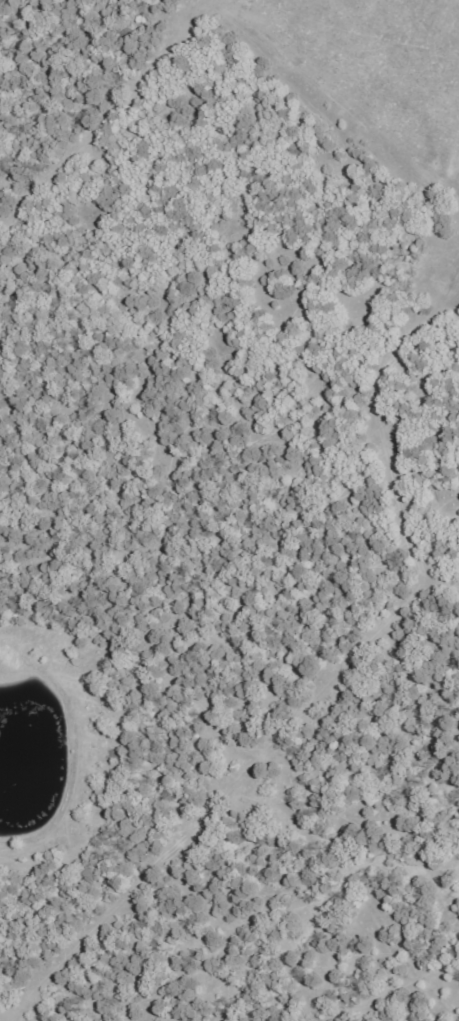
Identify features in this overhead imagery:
road: (38, 82)

